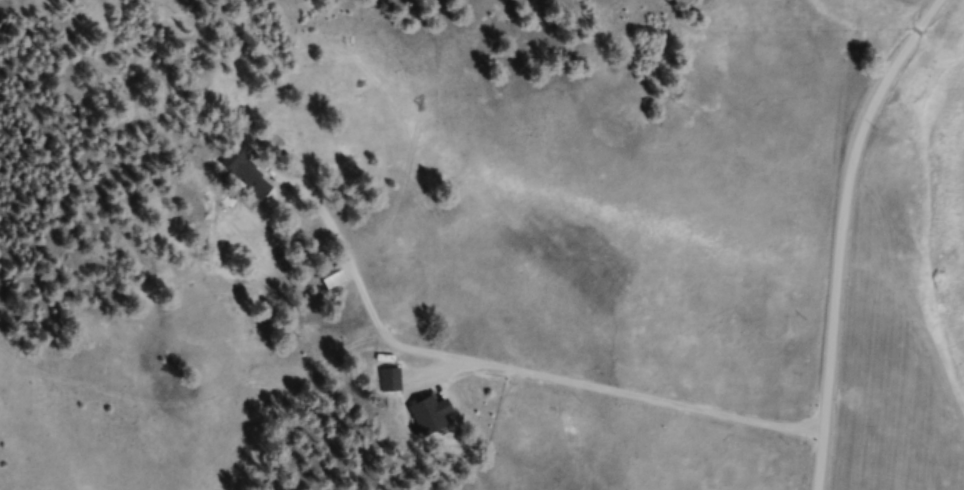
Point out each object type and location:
building: (253, 177)
road: (837, 232)
building: (394, 382)
road: (604, 384)
building: (436, 417)

